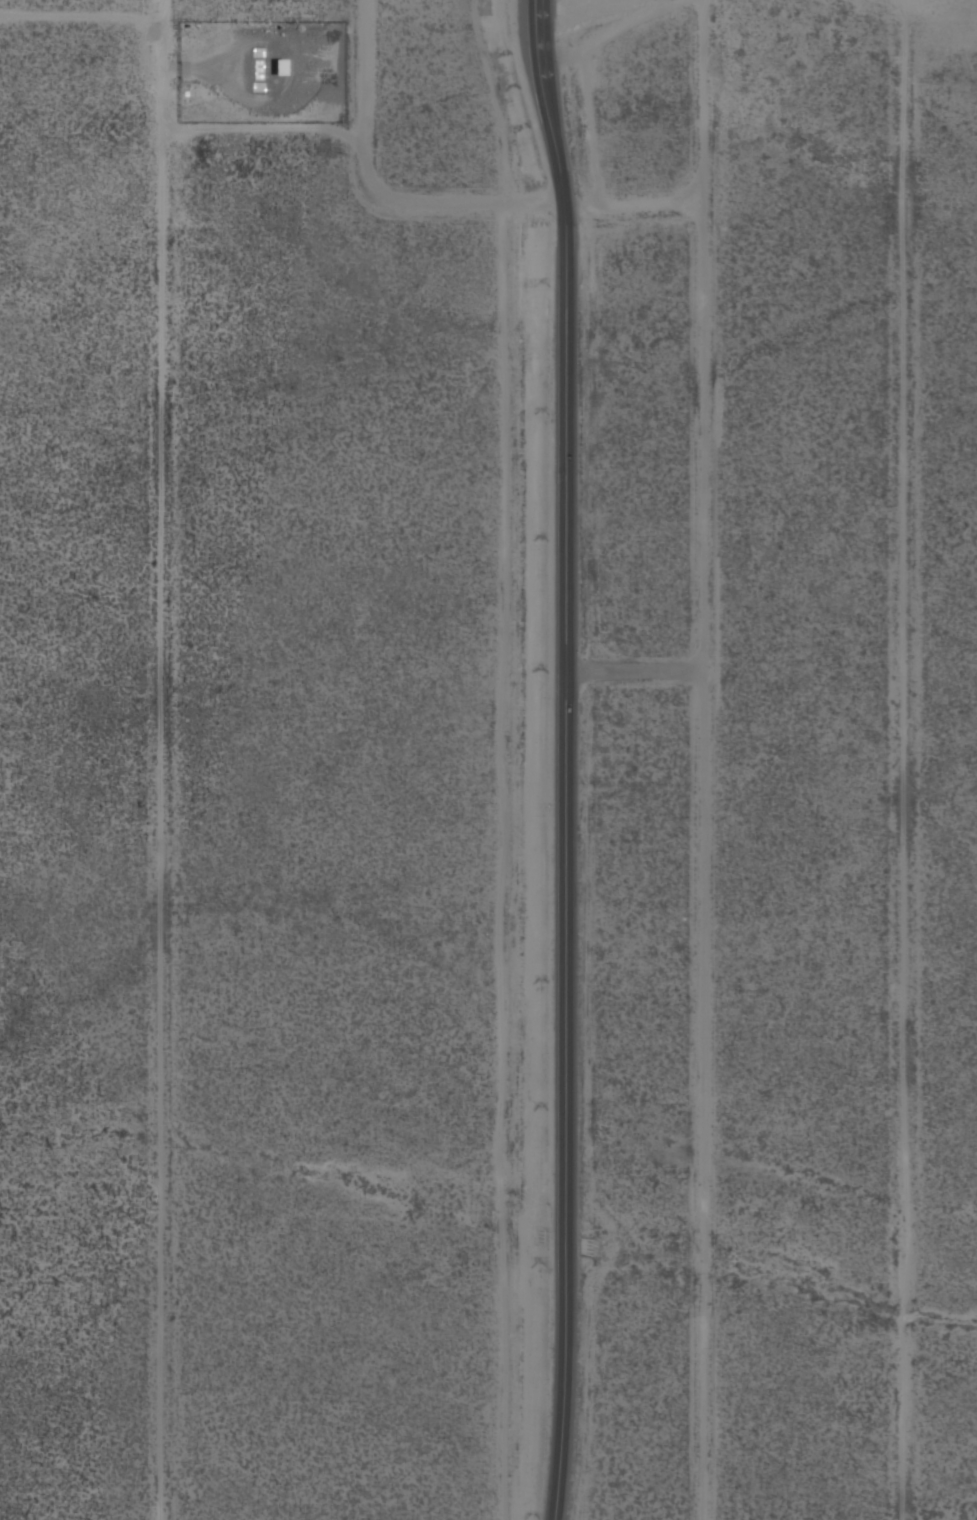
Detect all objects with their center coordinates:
road: (441, 200)
road: (635, 669)
road: (567, 758)
road: (702, 758)
road: (915, 760)

